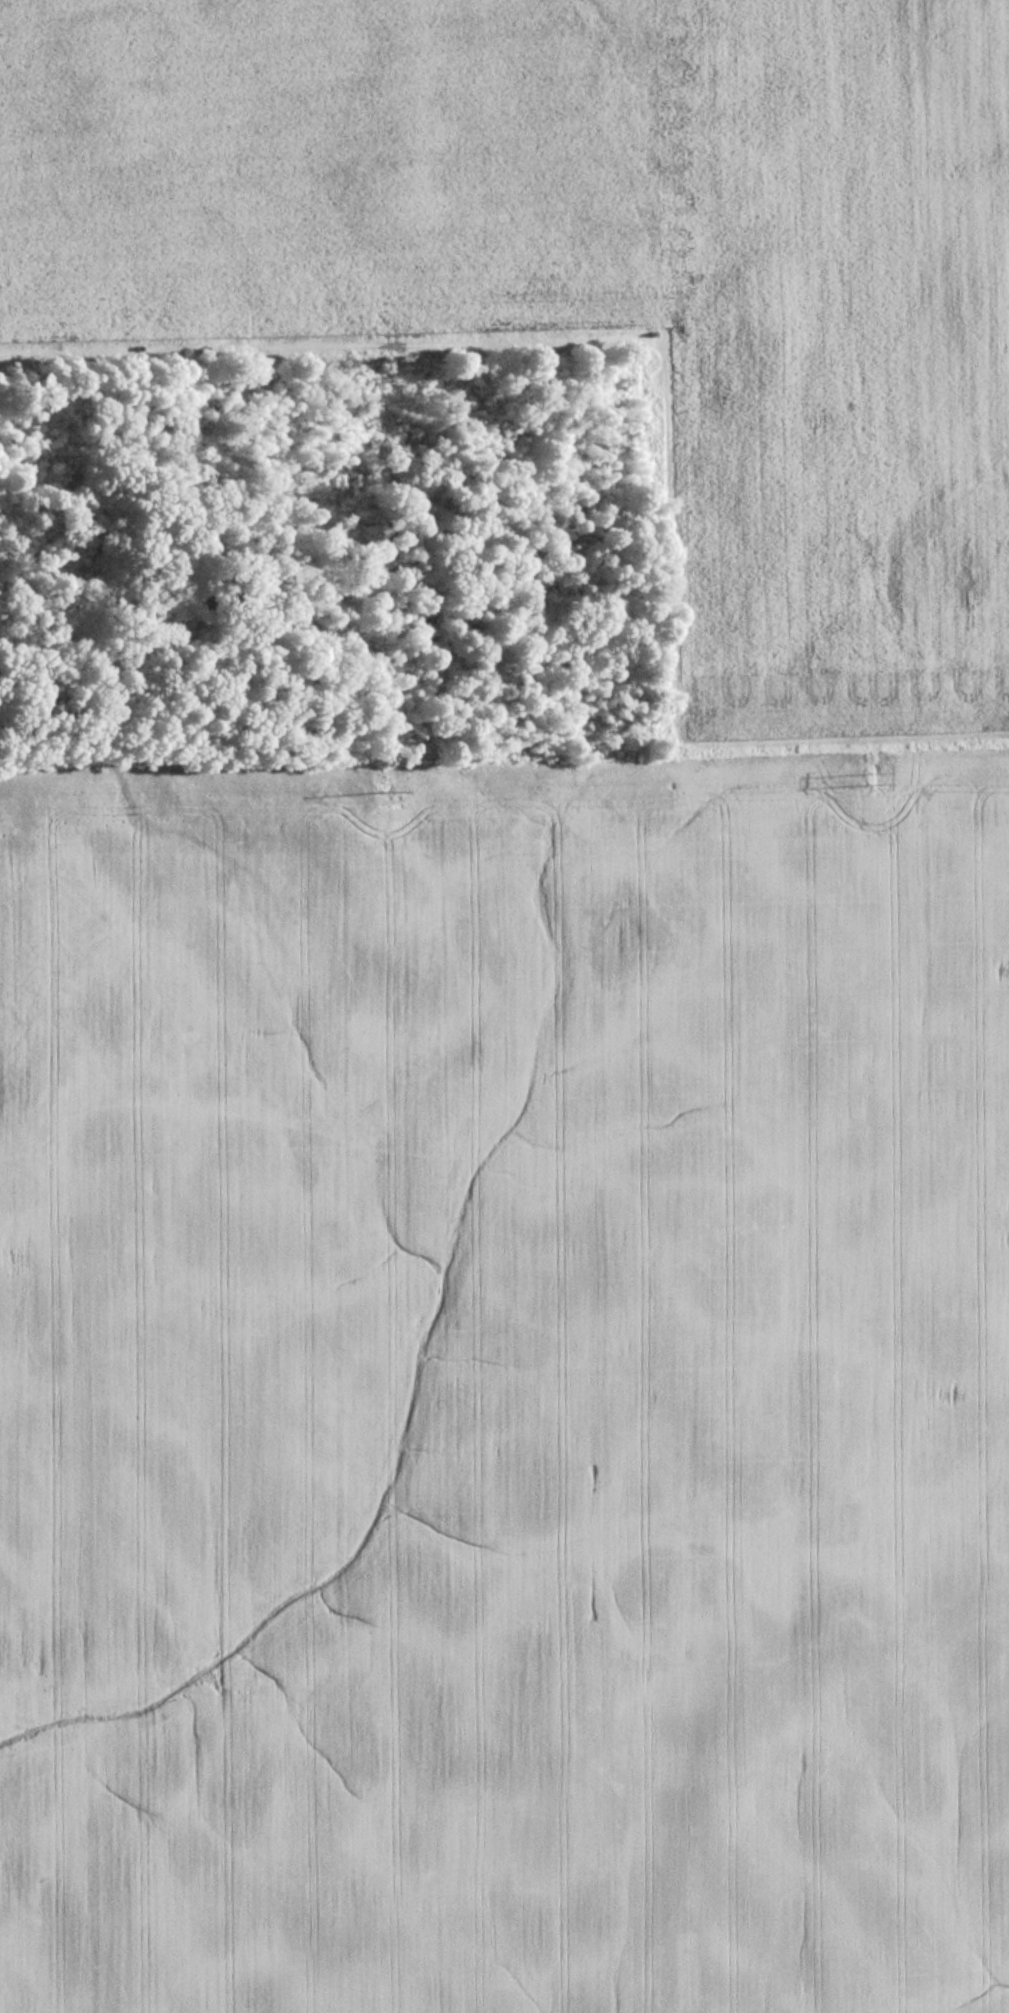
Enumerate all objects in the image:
power tower: (871, 783)
power tower: (383, 793)

